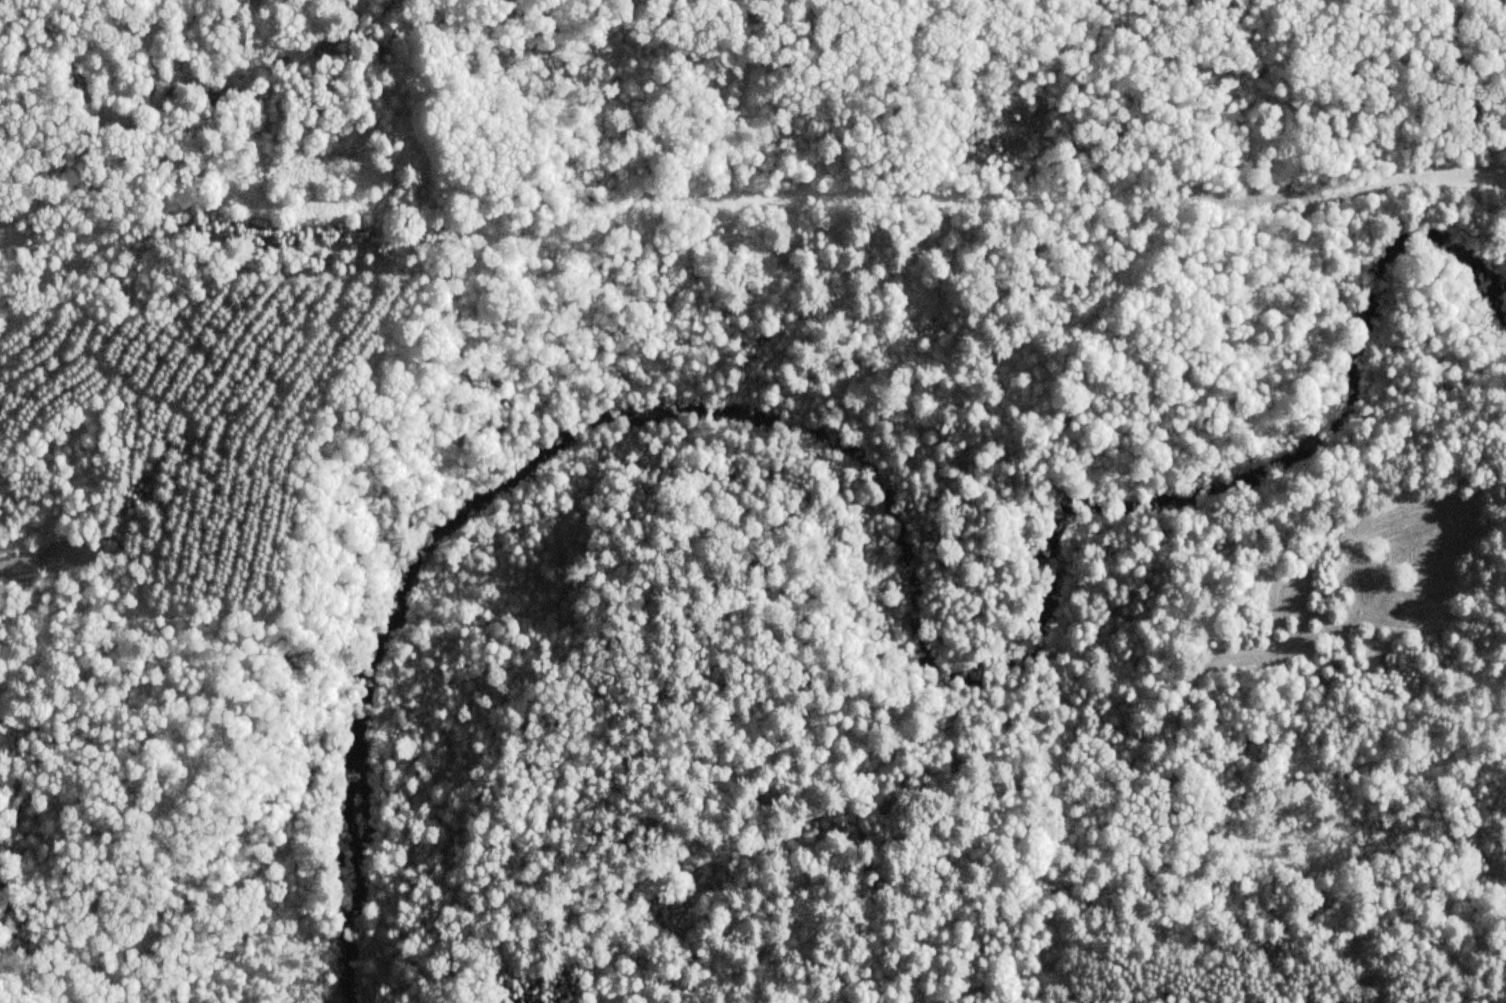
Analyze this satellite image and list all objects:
river: (905, 507)

